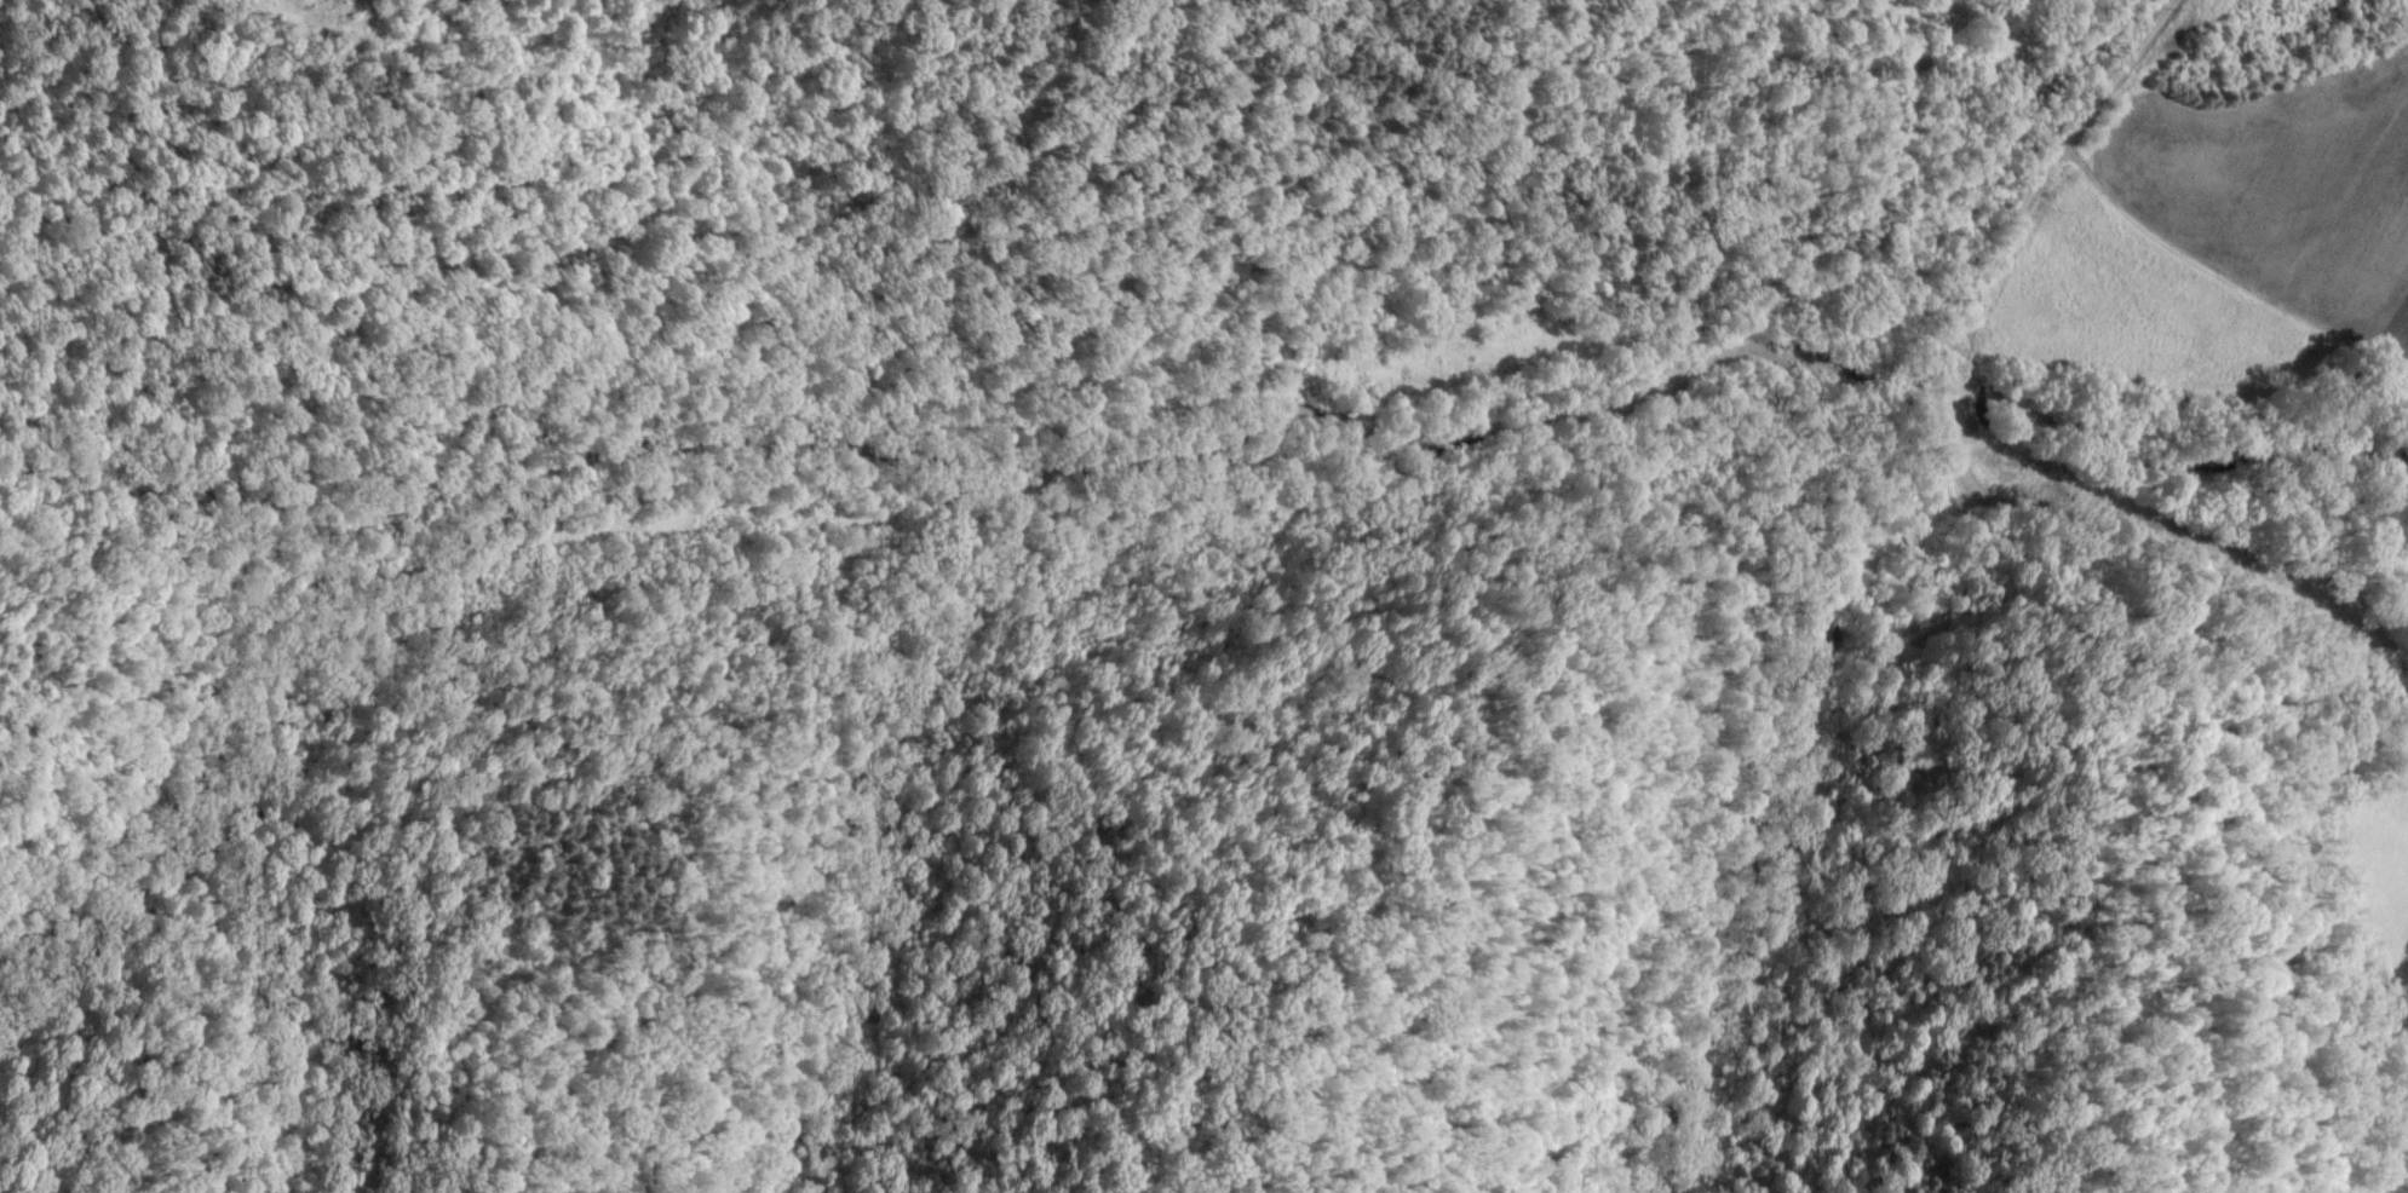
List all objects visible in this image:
crop: (2213, 244)
road: (1949, 453)

